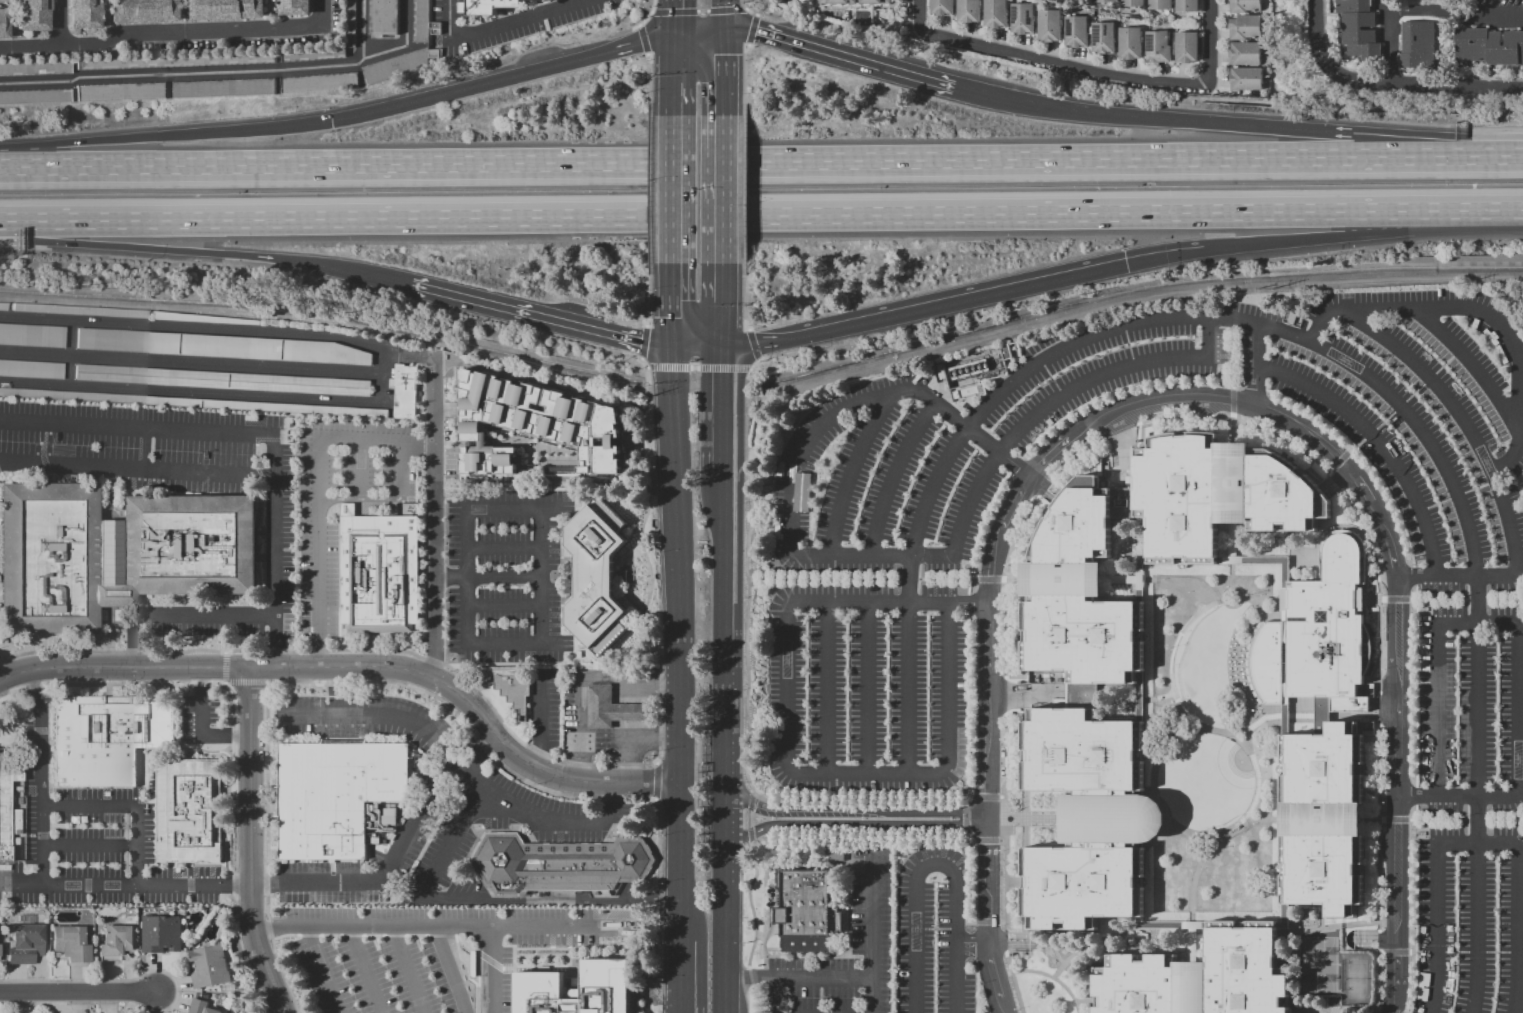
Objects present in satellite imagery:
building: (854, 1)
building: (1106, 1)
building: (1132, 2)
building: (1160, 4)
building: (489, 5)
road: (719, 5)
building: (1187, 5)
building: (1243, 5)
building: (295, 7)
building: (942, 7)
road: (746, 8)
road: (727, 9)
building: (227, 10)
road: (701, 10)
building: (969, 10)
building: (145, 11)
road: (672, 11)
road: (1455, 11)
building: (84, 13)
building: (996, 13)
building: (32, 15)
road: (920, 15)
building: (383, 17)
road: (669, 18)
building: (1022, 18)
road: (721, 19)
building: (420, 21)
road: (59, 22)
building: (3, 23)
building: (350, 23)
building: (1049, 25)
road: (637, 26)
building: (1244, 26)
building: (435, 28)
building: (1358, 28)
road: (506, 29)
traffic signals: (722, 29)
road: (750, 29)
building: (1076, 31)
road: (695, 32)
road: (172, 35)
traffic signals: (669, 36)
building: (1103, 37)
road: (1210, 38)
road: (642, 39)
road: (1387, 41)
building: (1130, 42)
building: (1418, 45)
building: (1488, 46)
building: (1157, 47)
building: (1186, 47)
road: (837, 53)
building: (1244, 53)
building: (313, 54)
road: (374, 58)
building: (176, 61)
road: (1328, 64)
building: (399, 65)
road: (1065, 65)
building: (35, 68)
road: (724, 71)
road: (179, 74)
road: (668, 75)
road: (743, 78)
road: (500, 79)
building: (1246, 79)
building: (320, 82)
road: (650, 82)
building: (224, 88)
road: (1456, 88)
building: (121, 92)
building: (35, 96)
road: (1150, 117)
traffic signals: (332, 121)
road: (725, 131)
road: (175, 134)
road: (1367, 144)
road: (1453, 155)
road: (705, 161)
road: (13, 166)
road: (668, 174)
road: (650, 188)
road: (743, 189)
road: (724, 205)
road: (761, 215)
road: (1301, 240)
road: (153, 247)
road: (668, 248)
road: (1164, 257)
traffic signals: (1127, 265)
road: (360, 271)
road: (649, 294)
road: (743, 297)
building: (3, 306)
road: (668, 306)
road: (724, 307)
road: (924, 308)
building: (80, 311)
road: (538, 316)
building: (203, 318)
road: (1126, 333)
building: (32, 335)
road: (1445, 336)
road: (643, 343)
road: (1128, 344)
road: (752, 345)
building: (221, 346)
traffic signals: (668, 350)
road: (695, 351)
traffic signals: (722, 352)
building: (1006, 352)
road: (1232, 353)
road: (1131, 355)
road: (1452, 356)
road: (1519, 360)
road: (1443, 364)
road: (1256, 366)
road: (667, 368)
road: (1045, 368)
building: (31, 369)
road: (694, 369)
road: (725, 369)
building: (968, 369)
road: (1110, 370)
building: (941, 371)
road: (1051, 378)
road: (1428, 378)
building: (223, 380)
road: (1057, 388)
building: (971, 390)
building: (407, 392)
road: (1414, 392)
building: (955, 394)
road: (1232, 400)
building: (193, 402)
road: (1398, 405)
road: (721, 410)
road: (1462, 416)
building: (261, 417)
road: (1384, 420)
road: (1240, 421)
building: (287, 422)
building: (536, 425)
road: (139, 426)
road: (1232, 427)
road: (1122, 430)
road: (1368, 433)
road: (1121, 440)
road: (1380, 443)
road: (1346, 445)
road: (147, 448)
street lamp: (151, 449)
road: (42, 453)
building: (303, 455)
road: (1075, 456)
road: (1443, 458)
road: (1338, 459)
road: (1338, 463)
building: (332, 466)
building: (371, 467)
road: (122, 468)
road: (1038, 468)
building: (401, 471)
road: (850, 475)
road: (892, 475)
road: (1335, 480)
road: (1335, 481)
road: (1044, 487)
road: (931, 489)
road: (1046, 489)
building: (1218, 493)
road: (317, 497)
road: (794, 498)
road: (433, 520)
road: (1350, 527)
road: (721, 536)
road: (1232, 541)
parking lot: (300, 542)
road: (274, 547)
road: (504, 547)
road: (1316, 550)
building: (115, 552)
road: (1243, 559)
road: (649, 562)
road: (833, 565)
road: (1300, 566)
building: (381, 572)
road: (488, 576)
road: (544, 576)
building: (595, 576)
road: (1439, 577)
road: (908, 578)
road: (918, 578)
road: (948, 578)
road: (1232, 578)
road: (823, 579)
road: (833, 579)
road: (908, 579)
road: (933, 579)
road: (948, 579)
road: (989, 579)
road: (1011, 579)
road: (1122, 579)
road: (1006, 585)
road: (1174, 585)
road: (1378, 587)
road: (465, 588)
road: (833, 593)
building: (1076, 598)
road: (1397, 599)
road: (1438, 599)
road: (1468, 599)
road: (1476, 599)
road: (1504, 599)
road: (1374, 600)
road: (971, 603)
road: (505, 605)
road: (1241, 609)
road: (1430, 610)
road: (204, 617)
road: (1489, 623)
road: (109, 629)
road: (1183, 629)
road: (1138, 630)
road: (721, 633)
building: (1316, 633)
road: (133, 634)
road: (679, 645)
road: (145, 649)
road: (54, 650)
road: (228, 651)
road: (134, 659)
road: (277, 659)
road: (224, 667)
road: (125, 668)
road: (1241, 669)
road: (201, 676)
road: (26, 677)
road: (721, 680)
street lamp: (127, 681)
road: (291, 681)
road: (238, 682)
road: (262, 682)
road: (160, 684)
road: (749, 684)
street lamp: (269, 685)
building: (514, 685)
road: (868, 688)
road: (907, 688)
road: (14, 689)
road: (829, 689)
road: (108, 693)
parking lot: (218, 694)
road: (1026, 694)
road: (1004, 696)
road: (1156, 697)
parking lot: (869, 704)
building: (613, 709)
road: (1378, 709)
road: (474, 711)
road: (1365, 714)
parking lot: (201, 718)
road: (539, 723)
road: (201, 725)
street lamp: (209, 725)
road: (243, 735)
building: (107, 738)
road: (722, 739)
road: (1247, 739)
road: (180, 741)
road: (1015, 745)
road: (1140, 747)
road: (1026, 755)
road: (986, 756)
road: (794, 772)
road: (957, 774)
road: (1013, 780)
road: (655, 781)
road: (39, 783)
road: (964, 788)
building: (7, 792)
road: (753, 792)
building: (333, 794)
road: (429, 794)
road: (1439, 796)
road: (1002, 797)
flagpole: (1007, 801)
road: (750, 802)
flagpole: (1010, 805)
road: (127, 806)
road: (838, 807)
road: (524, 809)
building: (186, 810)
flagpole: (1012, 810)
building: (391, 817)
road: (750, 818)
road: (965, 818)
road: (972, 819)
road: (1026, 819)
building: (1090, 819)
building: (1325, 819)
road: (1374, 819)
road: (1396, 819)
road: (1437, 819)
road: (1467, 819)
road: (1476, 819)
road: (1501, 819)
road: (1023, 820)
road: (1262, 820)
road: (1007, 821)
road: (838, 822)
road: (1235, 825)
road: (1378, 827)
road: (1426, 831)
road: (751, 834)
street lamp: (33, 835)
road: (861, 836)
parking lot: (91, 841)
road: (252, 841)
road: (1002, 841)
road: (921, 842)
road: (1478, 844)
road: (88, 845)
road: (452, 845)
road: (963, 847)
building: (835, 853)
road: (924, 856)
road: (937, 862)
road: (957, 862)
street lamp: (69, 864)
building: (558, 864)
street lamp: (126, 865)
road: (1194, 879)
road: (1026, 881)
road: (1023, 882)
road: (243, 883)
road: (116, 884)
road: (1019, 889)
building: (1283, 889)
street lamp: (40, 894)
street lamp: (87, 894)
road: (724, 896)
road: (555, 899)
road: (749, 901)
parking lot: (871, 908)
road: (658, 909)
building: (805, 910)
road: (872, 913)
road: (1279, 916)
road: (1320, 916)
road: (986, 917)
building: (24, 919)
road: (985, 921)
road: (966, 922)
road: (1014, 922)
building: (1221, 923)
building: (1168, 924)
building: (1266, 924)
road: (1179, 925)
road: (1342, 925)
road: (1136, 927)
road: (416, 928)
road: (924, 929)
road: (934, 929)
road: (948, 929)
building: (160, 933)
parking lot: (937, 934)
road: (1118, 935)
road: (1371, 940)
building: (116, 941)
road: (1011, 941)
road: (1005, 942)
road: (1378, 942)
building: (70, 943)
building: (25, 944)
road: (973, 945)
road: (1054, 950)
road: (1476, 952)
road: (1496, 952)
road: (1509, 952)
parking lot: (434, 953)
road: (1393, 953)
road: (1414, 953)
road: (1436, 953)
road: (1456, 953)
road: (1077, 957)
building: (209, 966)
park: (1319, 967)
road: (323, 970)
road: (364, 970)
road: (408, 970)
road: (450, 970)
road: (490, 970)
road: (843, 976)
road: (679, 977)
road: (750, 977)
road: (1054, 977)
building: (1200, 978)
road: (773, 979)
park: (1356, 979)
road: (746, 980)
road: (1014, 982)
road: (1378, 983)
building: (577, 989)
road: (78, 991)
road: (777, 995)
road: (755, 999)
road: (1087, 1000)
building: (201, 1007)
road: (283, 1011)

